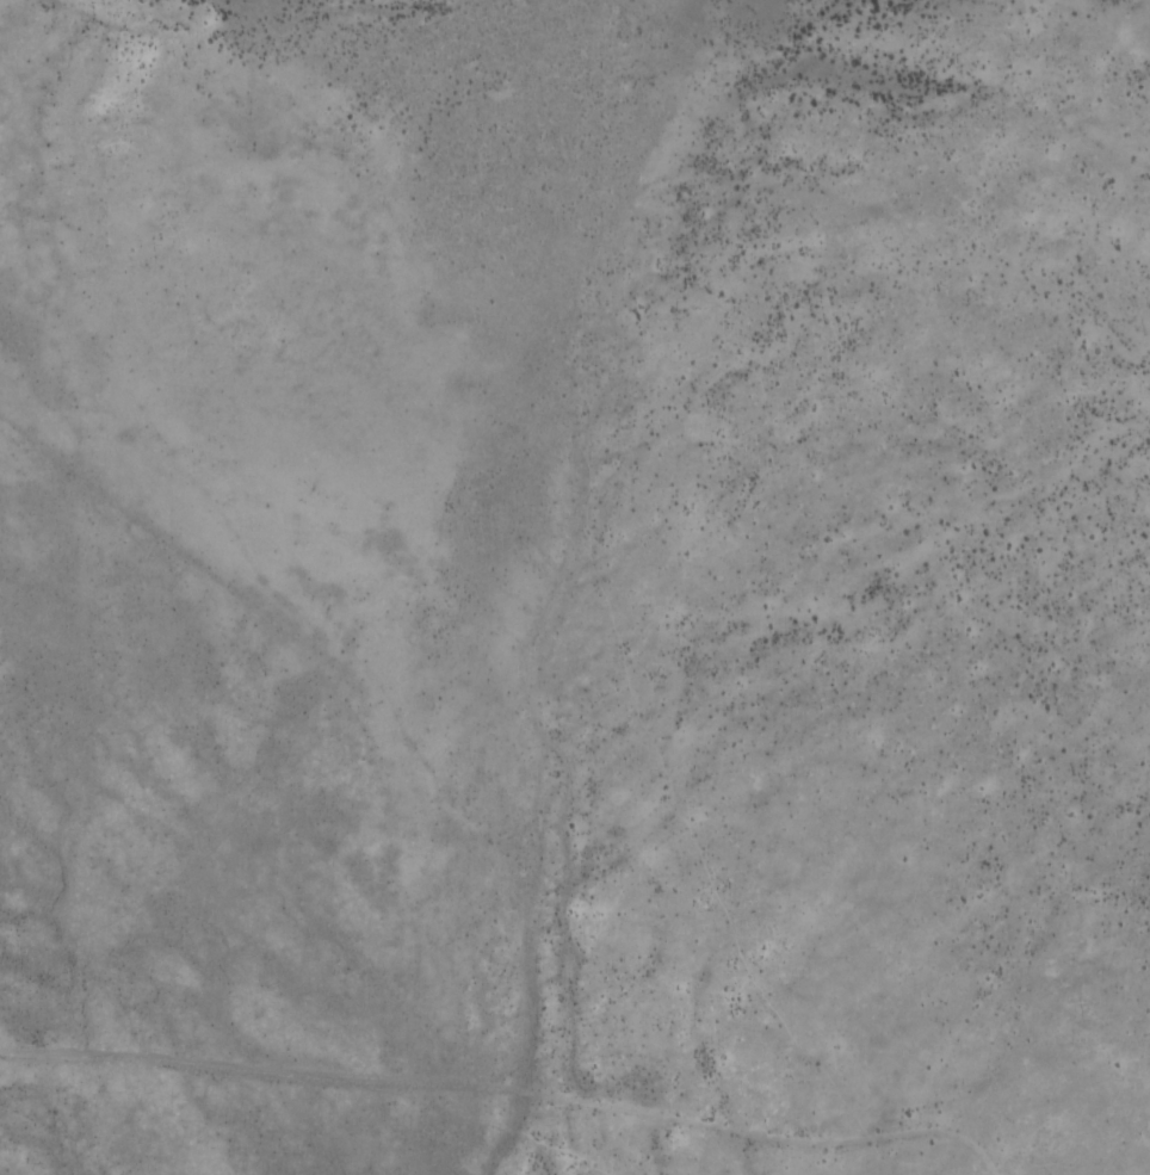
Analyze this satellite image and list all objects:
road: (701, 916)

